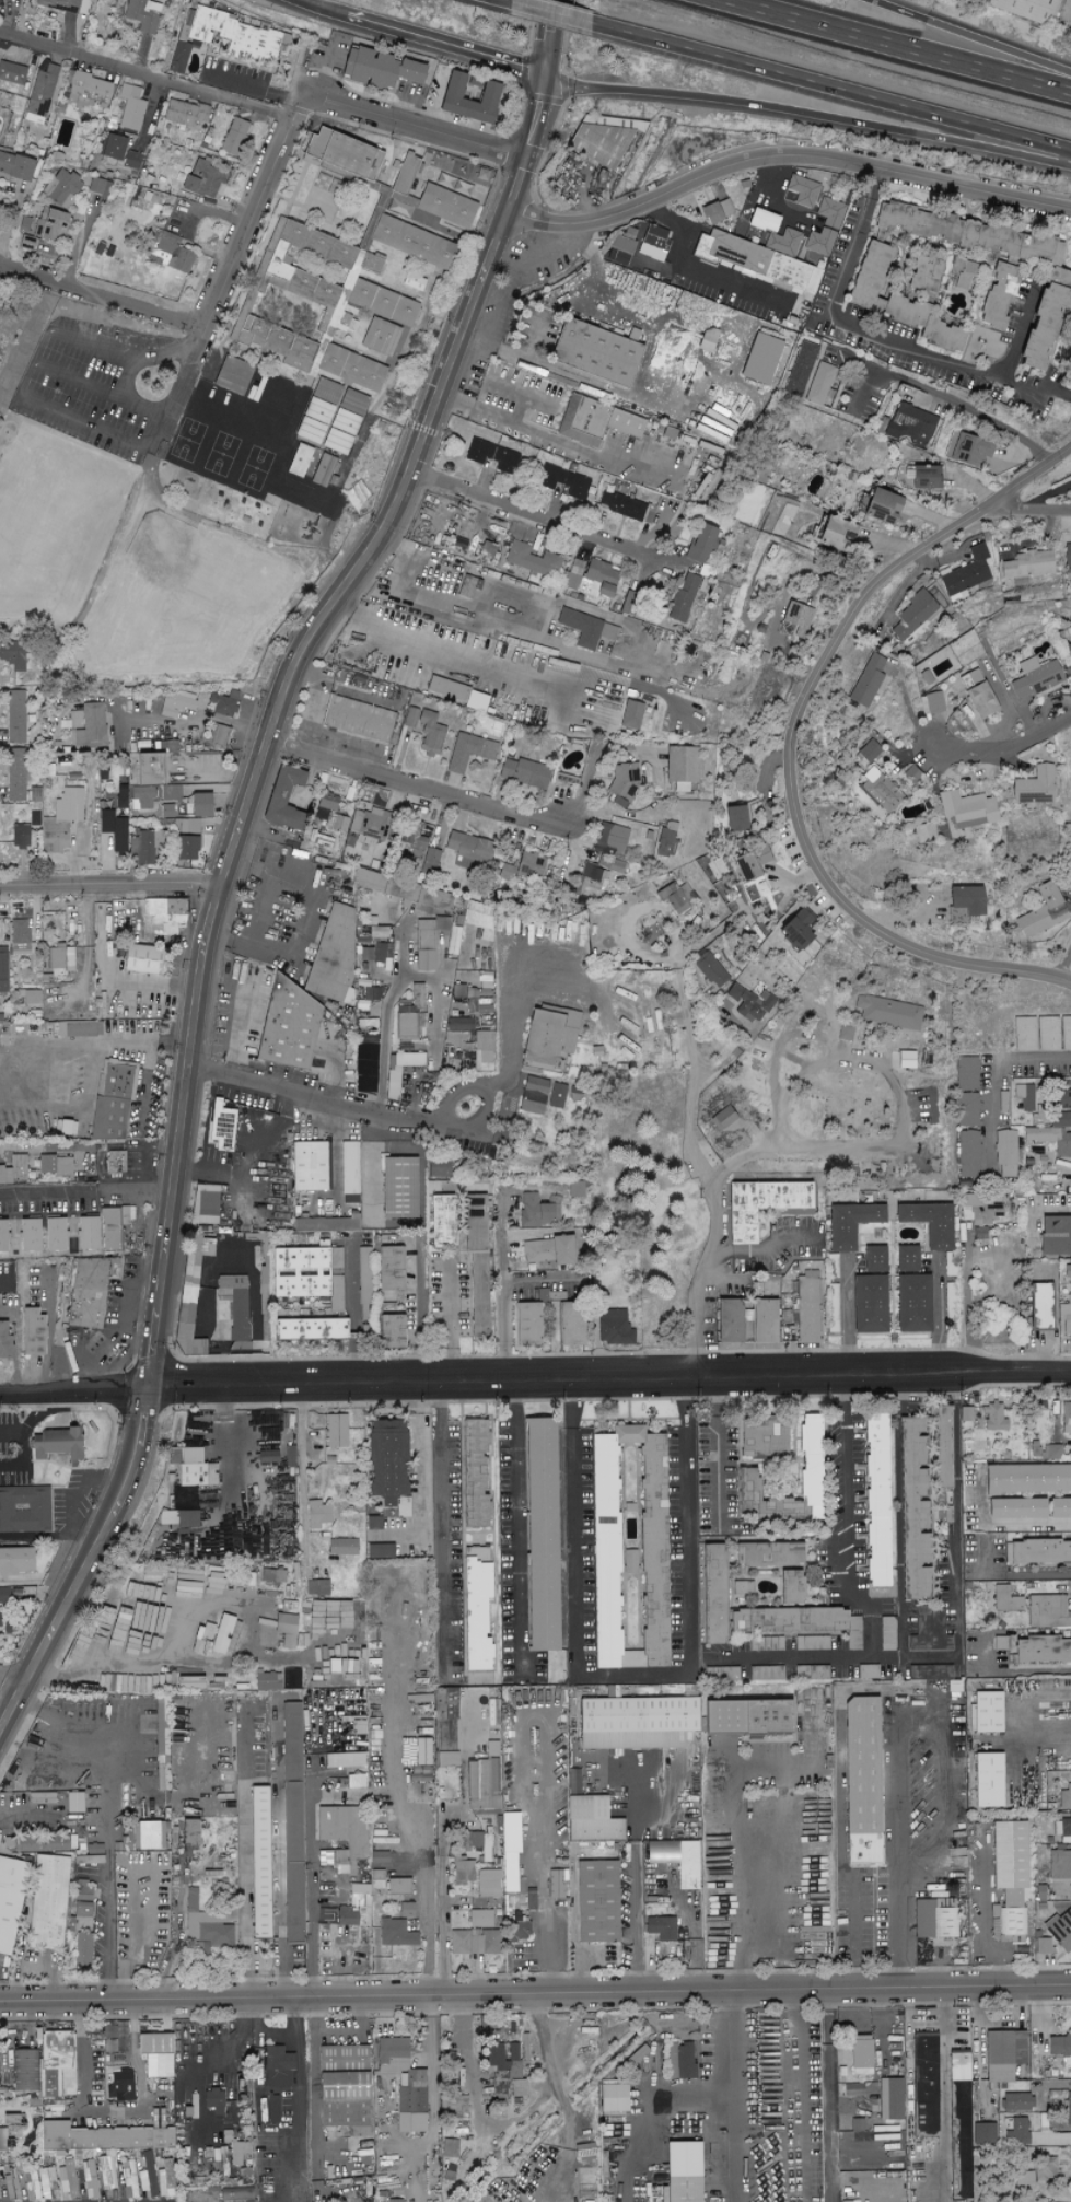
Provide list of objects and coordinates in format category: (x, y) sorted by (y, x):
road: (508, 0)
building: (68, 5)
road: (322, 8)
building: (1024, 9)
road: (550, 12)
building: (143, 14)
road: (969, 35)
building: (225, 36)
road: (554, 39)
road: (447, 44)
road: (908, 44)
road: (148, 69)
building: (376, 69)
building: (12, 73)
road: (252, 88)
road: (830, 88)
building: (88, 90)
building: (43, 92)
building: (450, 92)
building: (131, 108)
building: (184, 113)
building: (225, 114)
road: (808, 114)
road: (538, 117)
road: (414, 123)
building: (233, 137)
building: (595, 143)
building: (118, 151)
building: (341, 154)
building: (14, 166)
road: (878, 166)
building: (404, 175)
building: (205, 178)
road: (517, 180)
road: (265, 184)
building: (100, 187)
building: (63, 188)
building: (803, 191)
road: (773, 196)
building: (444, 206)
road: (209, 210)
building: (717, 211)
building: (831, 212)
road: (601, 215)
building: (761, 221)
building: (49, 222)
building: (27, 243)
building: (653, 243)
building: (820, 245)
building: (620, 251)
building: (175, 253)
building: (762, 258)
road: (8, 267)
building: (924, 273)
building: (868, 275)
building: (963, 275)
road: (695, 276)
road: (520, 279)
building: (345, 284)
road: (103, 294)
building: (998, 295)
building: (1045, 315)
building: (923, 323)
road: (1021, 325)
building: (717, 335)
road: (880, 335)
building: (380, 337)
building: (705, 341)
building: (278, 343)
road: (106, 347)
building: (593, 352)
building: (760, 359)
building: (801, 369)
road: (189, 374)
building: (232, 375)
road: (126, 377)
building: (820, 384)
road: (507, 386)
road: (24, 387)
road: (948, 398)
building: (330, 417)
road: (512, 421)
building: (593, 422)
building: (908, 423)
building: (965, 448)
road: (589, 451)
building: (490, 455)
building: (298, 461)
building: (323, 470)
building: (922, 477)
building: (563, 483)
building: (881, 506)
road: (1029, 506)
building: (627, 508)
road: (545, 515)
building: (834, 533)
building: (700, 545)
building: (1067, 558)
building: (533, 560)
building: (1028, 564)
building: (966, 574)
building: (592, 580)
building: (468, 586)
road: (445, 606)
building: (911, 617)
building: (799, 618)
building: (586, 629)
building: (1064, 634)
building: (13, 654)
road: (463, 656)
building: (1064, 656)
building: (1028, 678)
building: (866, 681)
building: (456, 694)
building: (974, 696)
road: (317, 701)
building: (223, 702)
building: (177, 703)
building: (928, 703)
building: (631, 715)
building: (15, 716)
road: (195, 718)
building: (358, 719)
building: (91, 726)
building: (424, 731)
building: (216, 736)
road: (800, 742)
building: (469, 752)
building: (864, 753)
road: (1009, 755)
building: (682, 767)
road: (258, 768)
building: (523, 773)
building: (143, 780)
building: (15, 781)
road: (415, 785)
building: (625, 785)
building: (1028, 788)
building: (875, 791)
building: (172, 792)
building: (278, 797)
building: (198, 805)
road: (605, 809)
building: (166, 811)
building: (959, 811)
building: (330, 812)
building: (113, 817)
building: (735, 819)
building: (60, 822)
building: (370, 824)
building: (190, 826)
building: (919, 832)
building: (20, 836)
building: (114, 837)
building: (414, 838)
building: (617, 838)
building: (666, 839)
building: (145, 849)
building: (185, 849)
building: (468, 849)
building: (430, 862)
building: (612, 864)
building: (524, 866)
building: (593, 877)
road: (110, 878)
building: (965, 900)
road: (263, 908)
building: (1044, 911)
building: (164, 913)
building: (480, 923)
building: (795, 930)
building: (376, 932)
building: (20, 936)
building: (423, 944)
building: (334, 952)
road: (282, 954)
building: (364, 954)
building: (142, 958)
building: (62, 959)
road: (1062, 966)
building: (3, 968)
building: (711, 970)
road: (132, 980)
building: (458, 991)
building: (33, 997)
building: (750, 1003)
road: (386, 1005)
building: (409, 1011)
building: (887, 1012)
road: (509, 1021)
building: (459, 1025)
building: (284, 1026)
building: (82, 1028)
building: (847, 1032)
building: (1024, 1034)
building: (1047, 1034)
building: (1066, 1034)
road: (237, 1035)
building: (547, 1037)
road: (118, 1042)
road: (843, 1044)
building: (481, 1050)
building: (408, 1059)
building: (905, 1059)
building: (364, 1068)
building: (966, 1073)
road: (994, 1081)
building: (392, 1084)
road: (482, 1086)
road: (148, 1088)
building: (543, 1095)
road: (322, 1097)
building: (1062, 1098)
building: (112, 1100)
road: (689, 1104)
building: (967, 1109)
building: (724, 1117)
building: (67, 1128)
road: (479, 1133)
building: (1053, 1134)
road: (44, 1146)
building: (1006, 1152)
building: (968, 1154)
building: (114, 1162)
building: (53, 1165)
road: (254, 1165)
building: (309, 1166)
building: (18, 1167)
building: (436, 1168)
building: (349, 1172)
building: (4, 1174)
park: (633, 1186)
building: (396, 1187)
building: (574, 1189)
road: (85, 1191)
building: (206, 1204)
building: (758, 1204)
building: (980, 1210)
building: (532, 1211)
building: (439, 1221)
building: (929, 1222)
building: (848, 1223)
building: (123, 1224)
building: (109, 1230)
building: (85, 1233)
building: (980, 1233)
building: (28, 1234)
building: (55, 1234)
building: (3, 1235)
road: (500, 1235)
building: (1066, 1235)
building: (231, 1244)
road: (768, 1247)
building: (199, 1248)
building: (548, 1250)
building: (336, 1258)
building: (364, 1258)
building: (873, 1258)
building: (905, 1258)
building: (473, 1260)
road: (234, 1263)
building: (388, 1268)
building: (298, 1272)
road: (4, 1279)
road: (353, 1286)
building: (90, 1290)
road: (501, 1293)
road: (969, 1301)
building: (912, 1303)
building: (869, 1304)
building: (1067, 1304)
road: (127, 1306)
building: (1038, 1306)
building: (808, 1307)
road: (938, 1307)
road: (419, 1308)
building: (234, 1310)
road: (848, 1316)
road: (450, 1317)
road: (700, 1318)
building: (567, 1320)
building: (726, 1320)
building: (761, 1320)
building: (524, 1324)
road: (49, 1327)
building: (613, 1327)
building: (224, 1328)
building: (306, 1329)
building: (30, 1331)
building: (187, 1331)
building: (387, 1331)
road: (16, 1342)
building: (3, 1343)
road: (356, 1360)
road: (78, 1361)
road: (123, 1373)
road: (713, 1378)
road: (148, 1384)
road: (252, 1387)
road: (73, 1388)
building: (965, 1414)
building: (992, 1418)
building: (1066, 1418)
building: (336, 1431)
road: (13, 1432)
road: (26, 1433)
building: (761, 1440)
building: (56, 1443)
building: (950, 1445)
building: (939, 1447)
building: (808, 1450)
building: (1052, 1452)
road: (302, 1453)
road: (719, 1454)
building: (384, 1459)
building: (191, 1468)
building: (472, 1473)
road: (84, 1479)
building: (1025, 1479)
road: (424, 1486)
building: (874, 1500)
building: (400, 1507)
building: (782, 1507)
building: (1058, 1507)
building: (185, 1508)
building: (1009, 1508)
building: (23, 1510)
building: (911, 1510)
building: (318, 1514)
road: (999, 1522)
building: (372, 1523)
road: (516, 1530)
road: (441, 1531)
building: (539, 1534)
road: (57, 1536)
building: (340, 1547)
building: (379, 1551)
building: (1038, 1552)
building: (603, 1554)
building: (766, 1554)
building: (14, 1560)
building: (629, 1562)
road: (89, 1564)
road: (1010, 1572)
building: (272, 1575)
road: (40, 1577)
building: (154, 1585)
building: (317, 1587)
building: (789, 1587)
building: (742, 1588)
building: (712, 1594)
building: (3, 1596)
building: (1005, 1599)
road: (854, 1600)
building: (1047, 1611)
building: (784, 1619)
building: (286, 1629)
building: (930, 1632)
building: (853, 1633)
building: (223, 1635)
building: (1001, 1643)
building: (765, 1644)
building: (1041, 1650)
road: (930, 1657)
road: (118, 1663)
road: (1012, 1669)
building: (556, 1670)
road: (632, 1671)
building: (868, 1671)
building: (930, 1671)
building: (761, 1673)
building: (721, 1674)
building: (290, 1679)
building: (266, 1681)
building: (216, 1682)
road: (10, 1685)
building: (954, 1686)
road: (1022, 1711)
building: (986, 1712)
building: (743, 1716)
building: (633, 1722)
building: (444, 1727)
building: (290, 1749)
building: (422, 1751)
building: (338, 1770)
building: (986, 1780)
building: (574, 1781)
building: (858, 1781)
building: (484, 1786)
building: (42, 1797)
building: (1064, 1798)
building: (73, 1802)
road: (33, 1808)
road: (396, 1808)
building: (590, 1819)
road: (105, 1820)
building: (509, 1832)
building: (345, 1833)
building: (149, 1836)
road: (735, 1841)
building: (476, 1842)
building: (38, 1844)
road: (443, 1846)
building: (661, 1852)
road: (901, 1854)
building: (89, 1855)
road: (246, 1860)
building: (256, 1862)
building: (688, 1865)
building: (1059, 1865)
building: (463, 1871)
building: (508, 1872)
building: (1008, 1872)
road: (637, 1877)
building: (489, 1883)
building: (398, 1886)
building: (80, 1899)
building: (191, 1899)
building: (9, 1900)
building: (595, 1901)
building: (46, 1902)
building: (405, 1910)
building: (292, 1913)
building: (351, 1916)
building: (480, 1919)
road: (690, 1919)
building: (934, 1919)
road: (983, 1919)
building: (994, 1923)
building: (661, 1929)
building: (209, 1930)
building: (1061, 1930)
road: (857, 1932)
building: (395, 1933)
road: (543, 1934)
building: (475, 1942)
building: (1043, 1946)
building: (81, 1949)
road: (290, 1972)
road: (535, 1996)
road: (1041, 2031)
road: (979, 2035)
building: (115, 2037)
road: (464, 2038)
building: (1059, 2047)
building: (154, 2052)
road: (225, 2053)
road: (85, 2054)
building: (1002, 2054)
building: (861, 2055)
building: (682, 2061)
building: (56, 2063)
building: (277, 2067)
building: (503, 2069)
building: (25, 2070)
building: (403, 2084)
building: (924, 2085)
building: (119, 2087)
building: (341, 2088)
road: (945, 2096)
road: (796, 2097)
road: (560, 2098)
building: (613, 2098)
road: (730, 2098)
building: (889, 2099)
road: (300, 2101)
building: (1014, 2102)
building: (849, 2105)
building: (269, 2109)
building: (1063, 2113)
road: (651, 2117)
building: (961, 2127)
building: (1017, 2132)
building: (985, 2134)
building: (63, 2136)
building: (5, 2142)
building: (449, 2148)
building: (241, 2152)
building: (221, 2160)
building: (1033, 2171)
building: (680, 2172)
building: (90, 2179)
building: (32, 2186)
building: (236, 2194)

